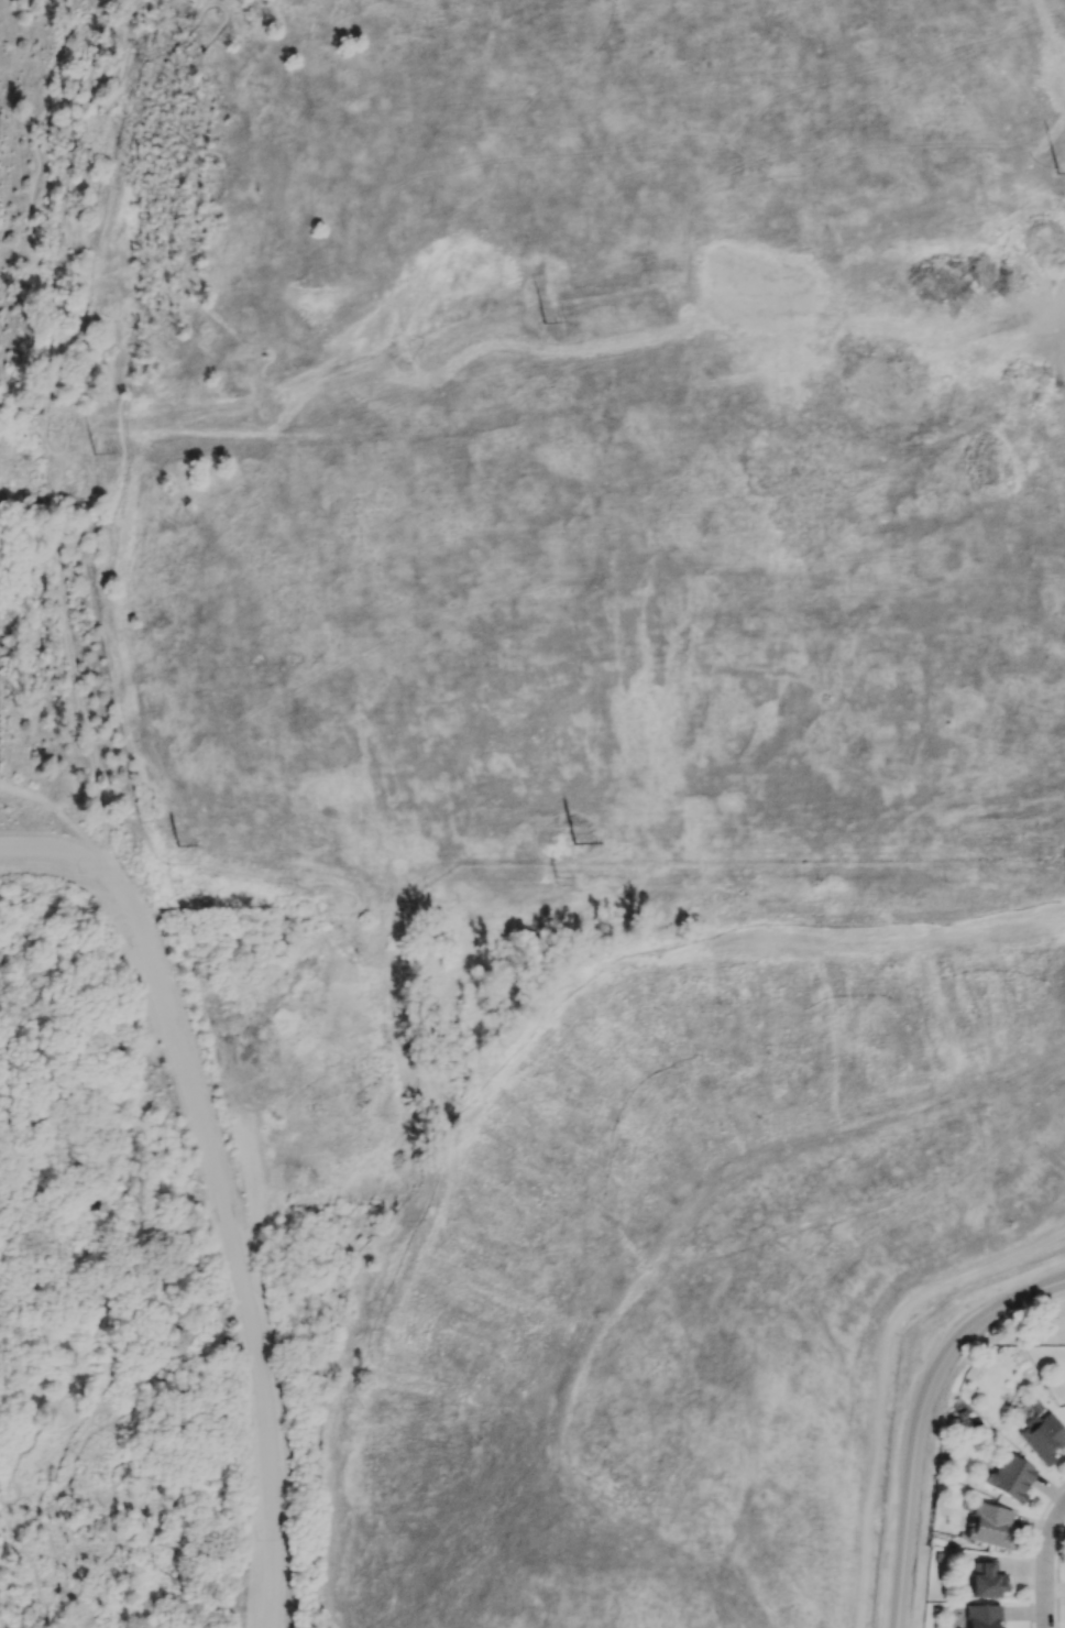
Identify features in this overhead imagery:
road: (62, 34)
power tower: (1057, 174)
road: (66, 228)
power tower: (542, 324)
road: (46, 362)
landfill: (648, 398)
power tower: (94, 454)
road: (99, 612)
road: (76, 689)
power tower: (578, 849)
power tower: (173, 851)
road: (81, 857)
power tower: (557, 881)
power tower: (171, 883)
road: (122, 921)
road: (28, 961)
road: (108, 1114)
road: (175, 1215)
road: (20, 1234)
road: (239, 1267)
road: (92, 1334)
road: (153, 1387)
road: (920, 1417)
building: (1042, 1436)
building: (1010, 1477)
road: (8, 1521)
building: (989, 1525)
road: (1047, 1570)
road: (34, 1573)
building: (985, 1581)
road: (4, 1607)
building: (982, 1616)

